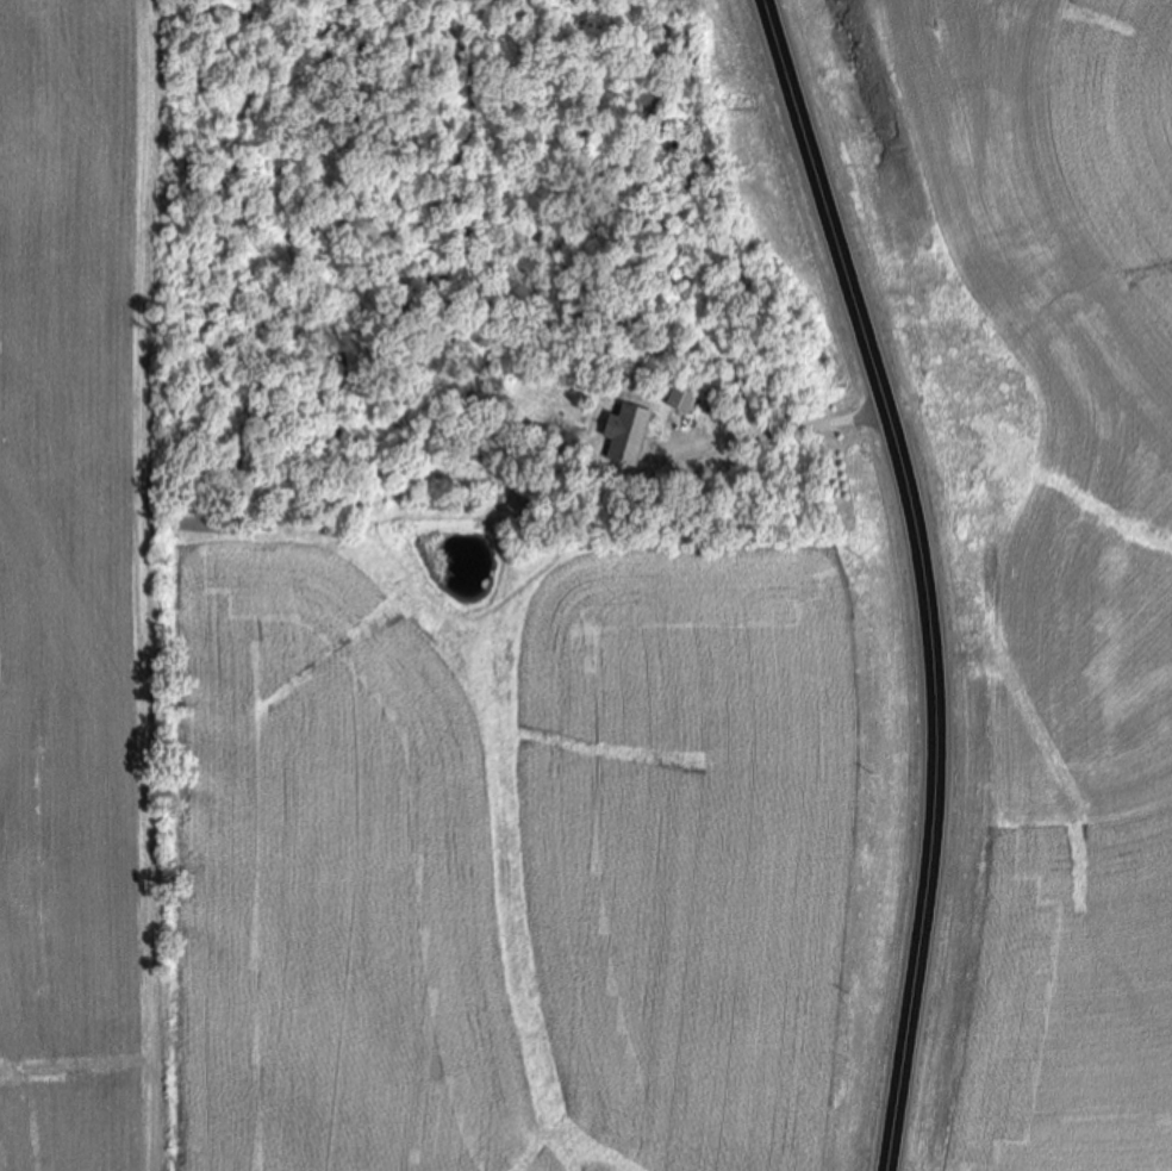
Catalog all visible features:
road: (769, 432)
building: (631, 435)
road: (923, 577)

